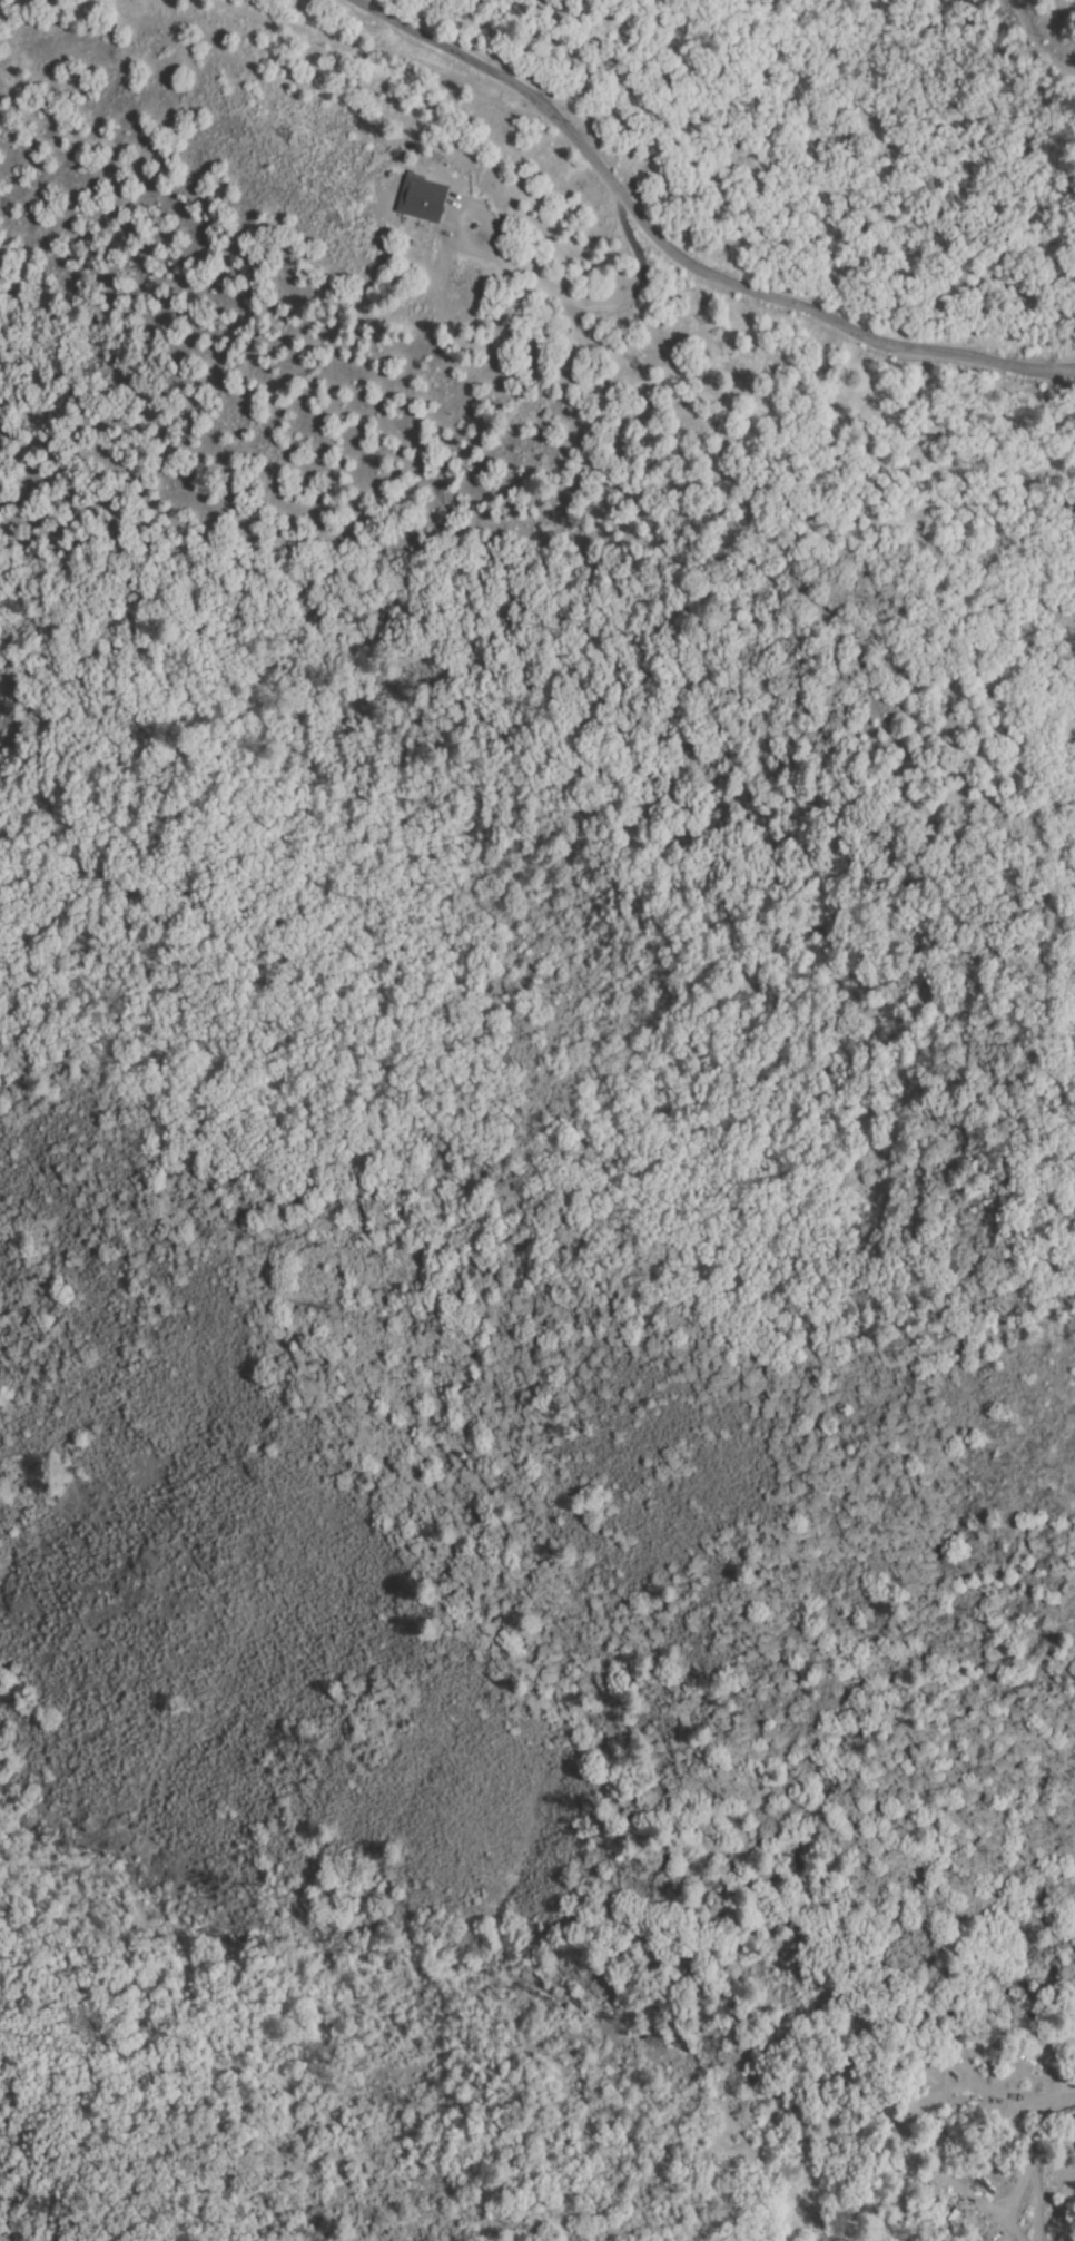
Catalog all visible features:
building: (423, 198)
road: (677, 252)

